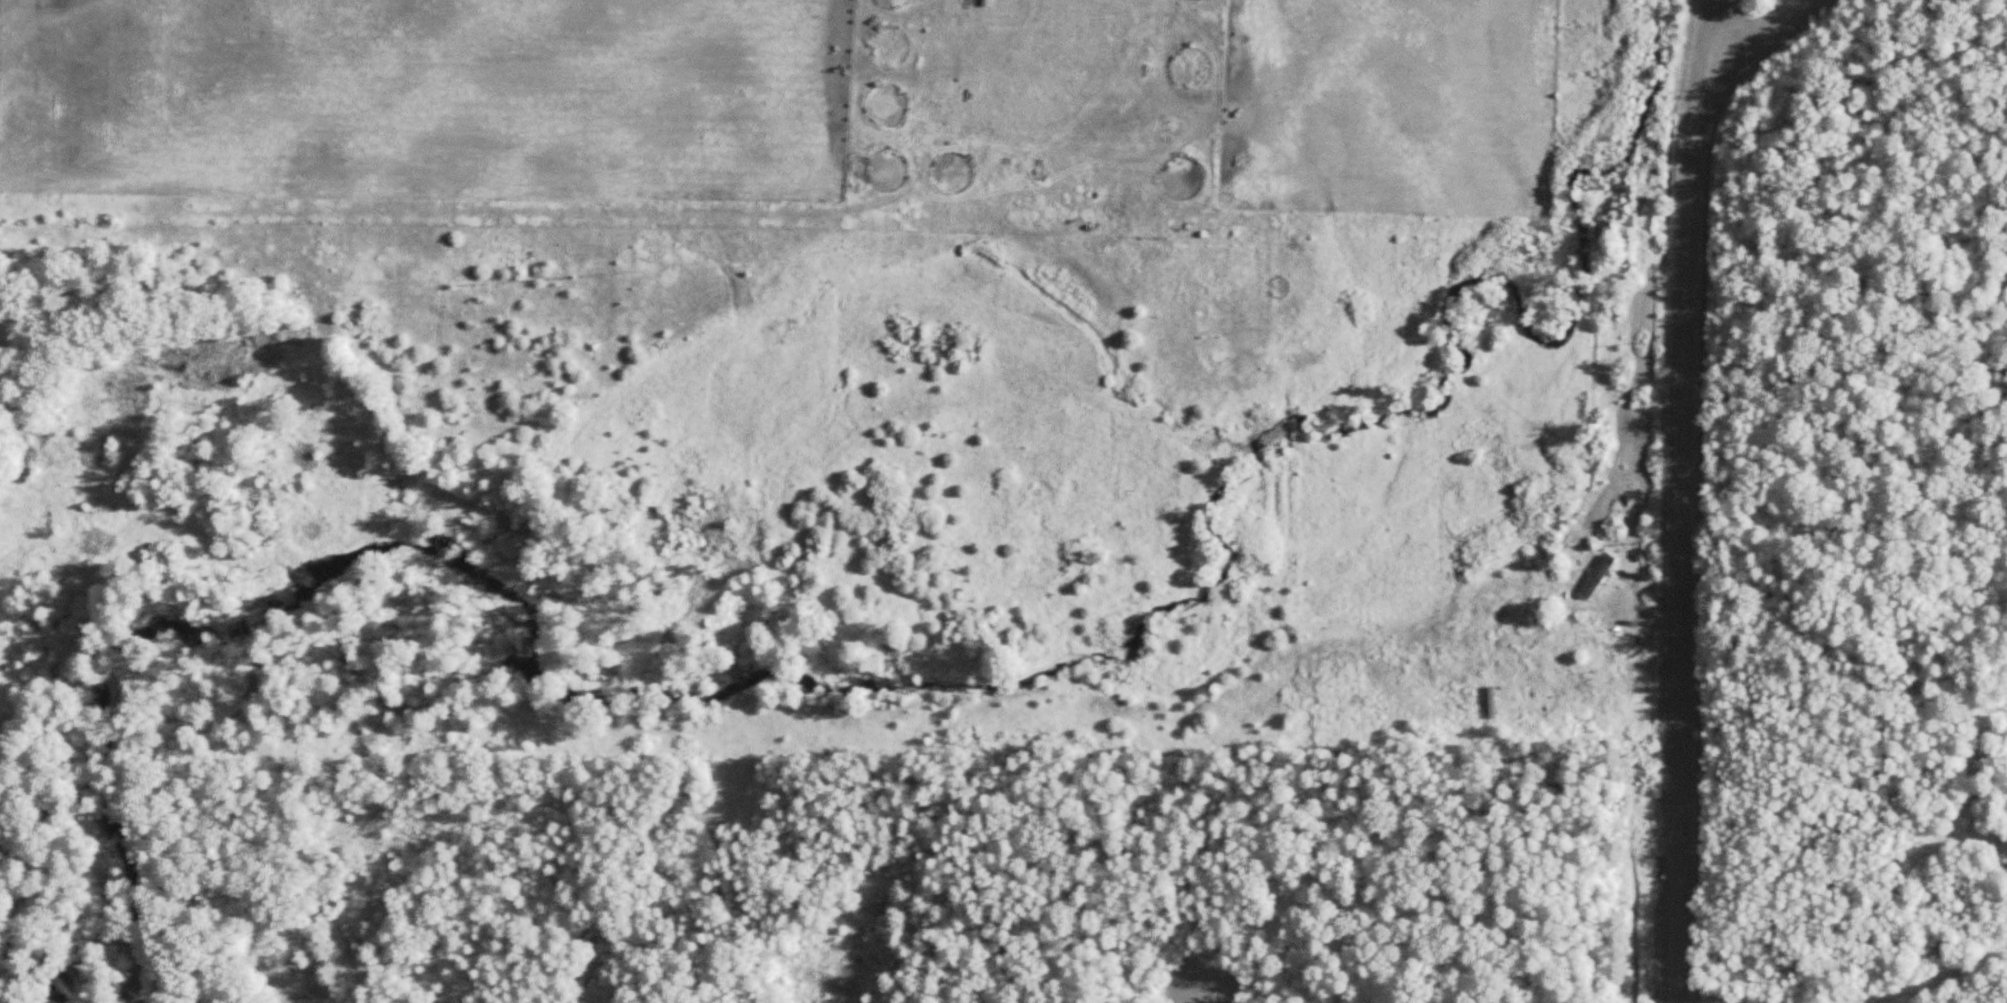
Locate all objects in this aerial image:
road: (1756, 41)
road: (1707, 42)
road: (1683, 542)
building: (1598, 577)
building: (1492, 702)

